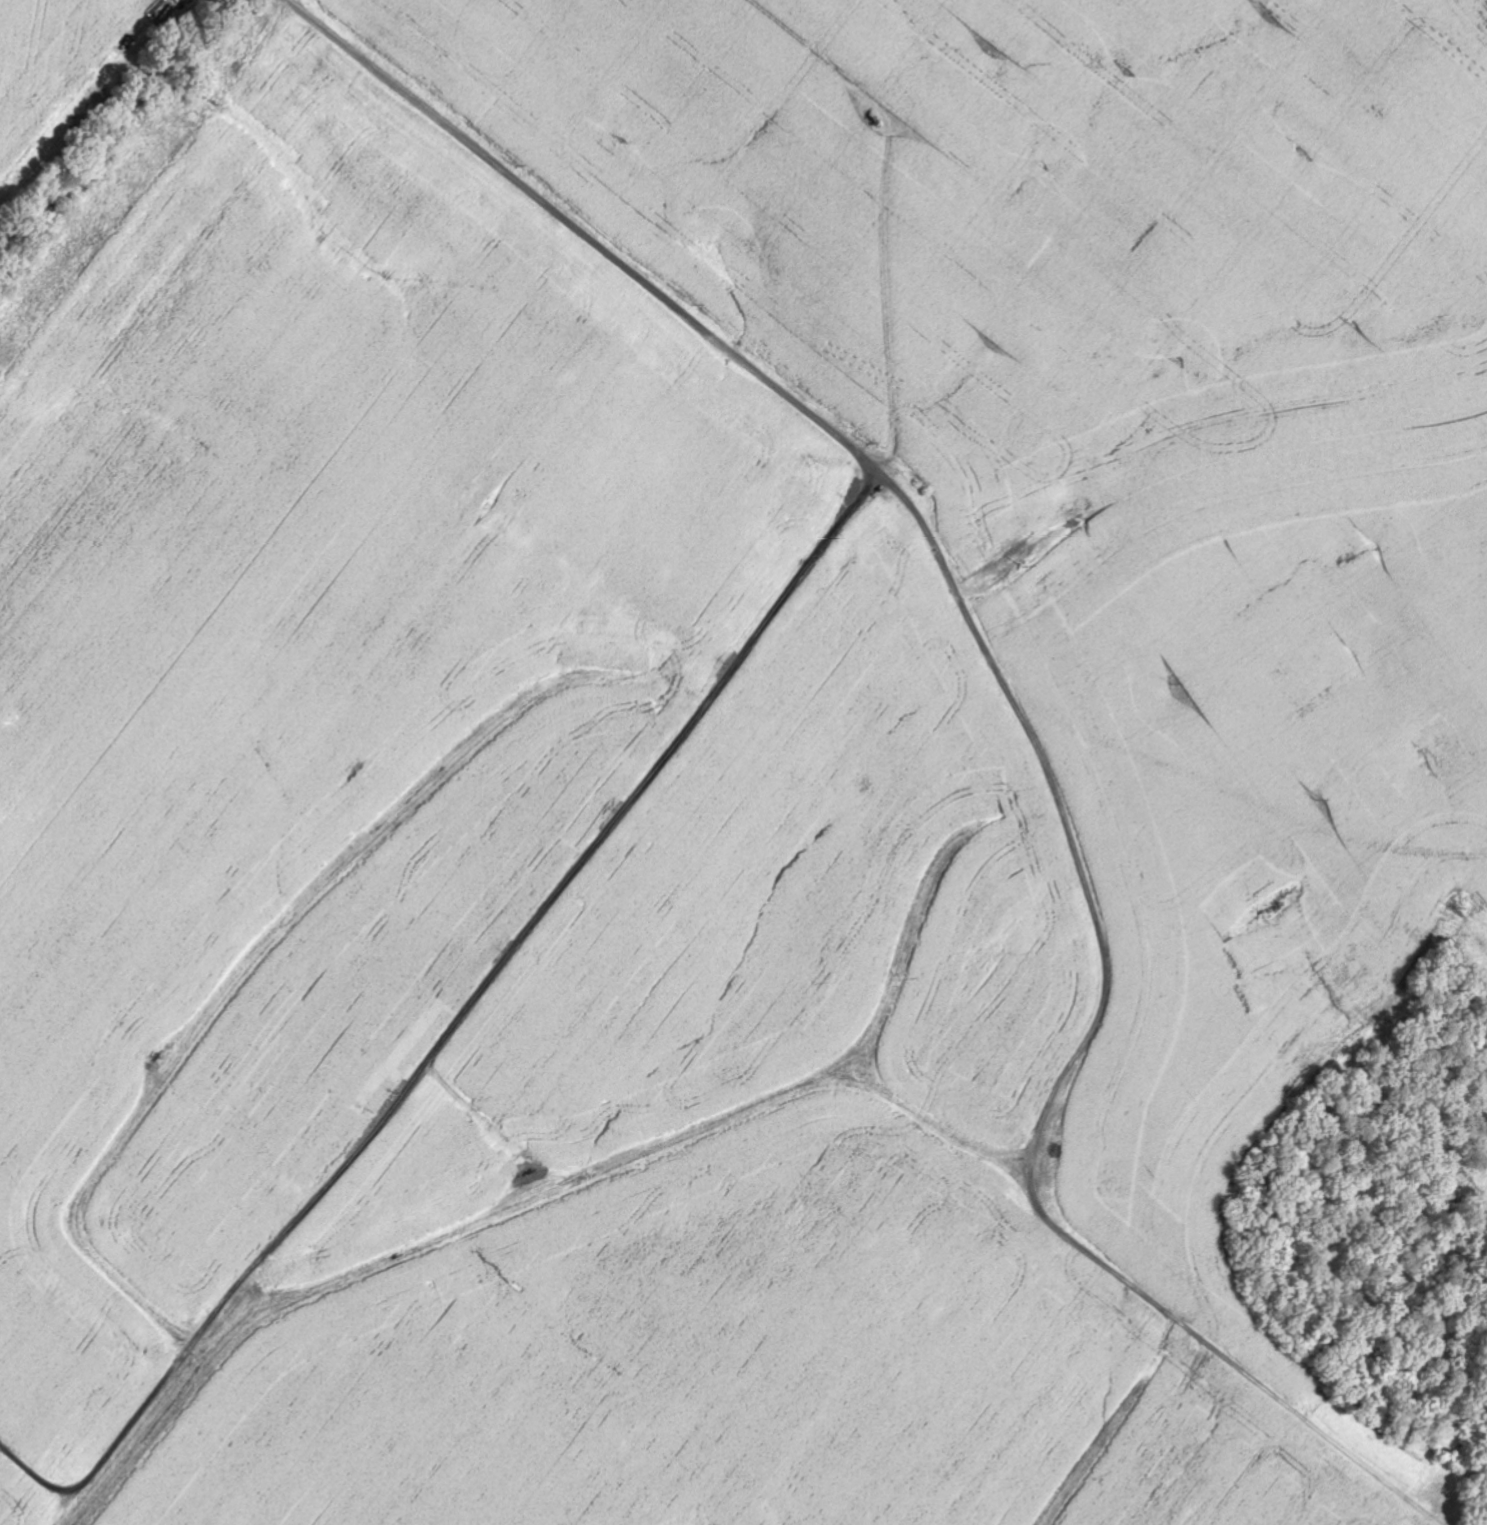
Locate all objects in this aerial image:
road: (583, 235)
road: (452, 992)

